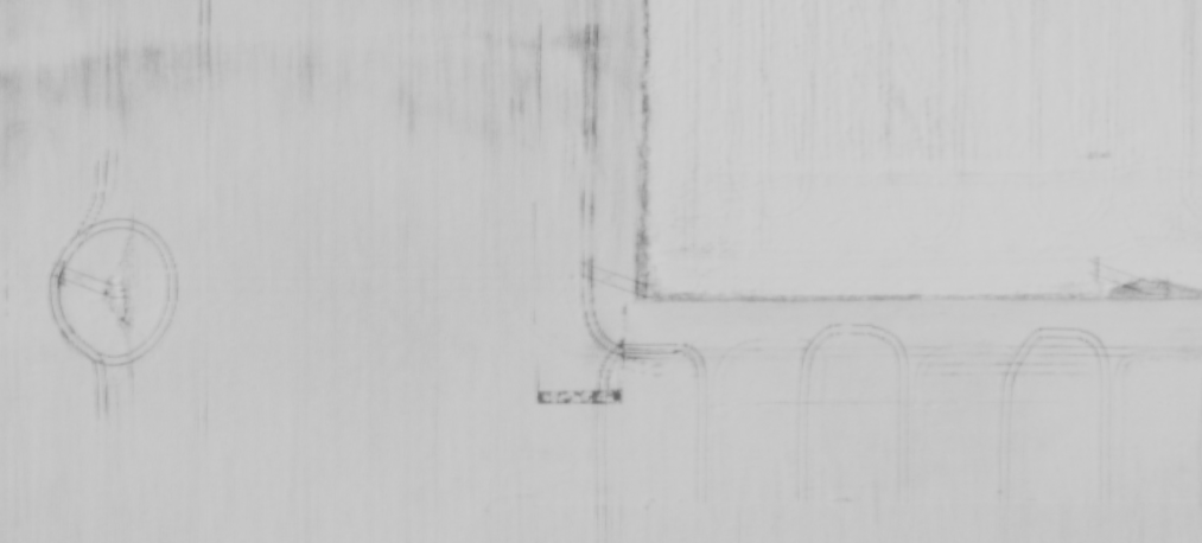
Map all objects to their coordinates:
power tower: (1147, 287)
power tower: (642, 289)
power tower: (113, 290)

